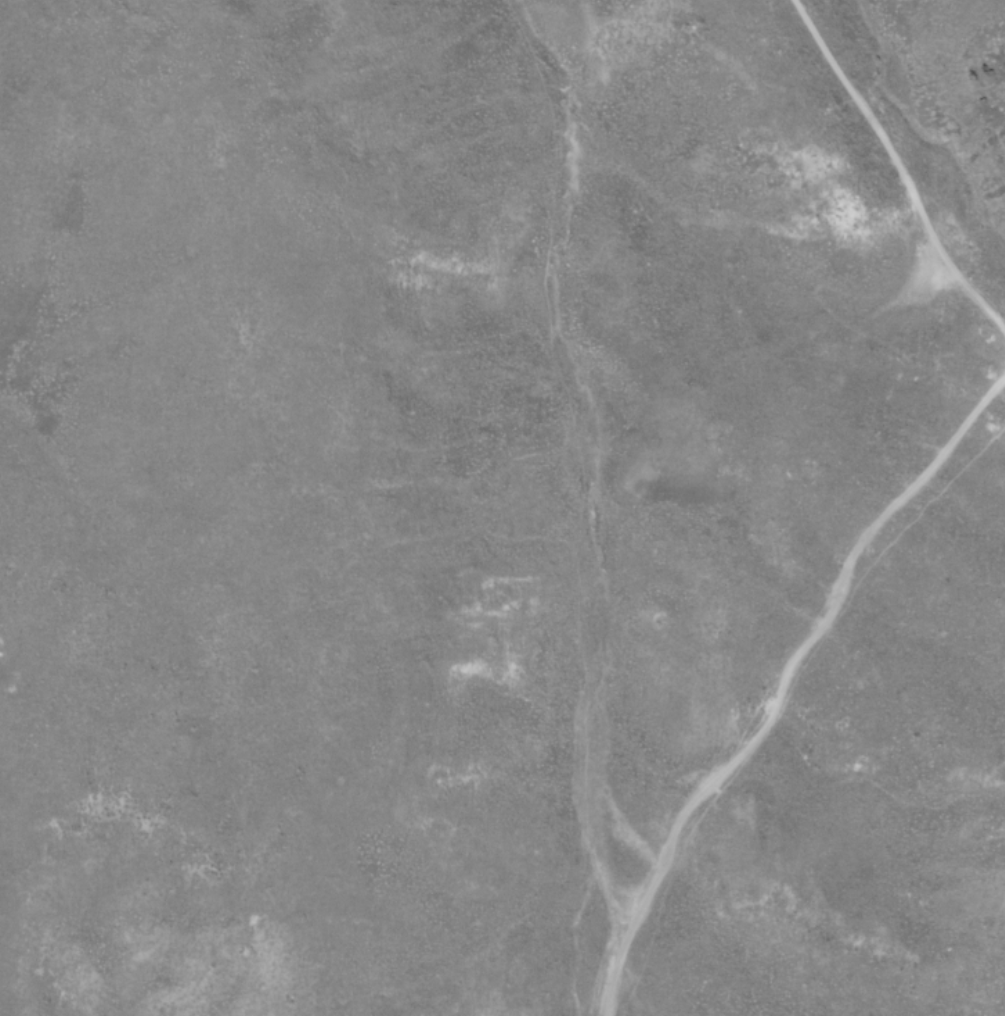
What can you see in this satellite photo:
road: (895, 171)
road: (784, 687)

